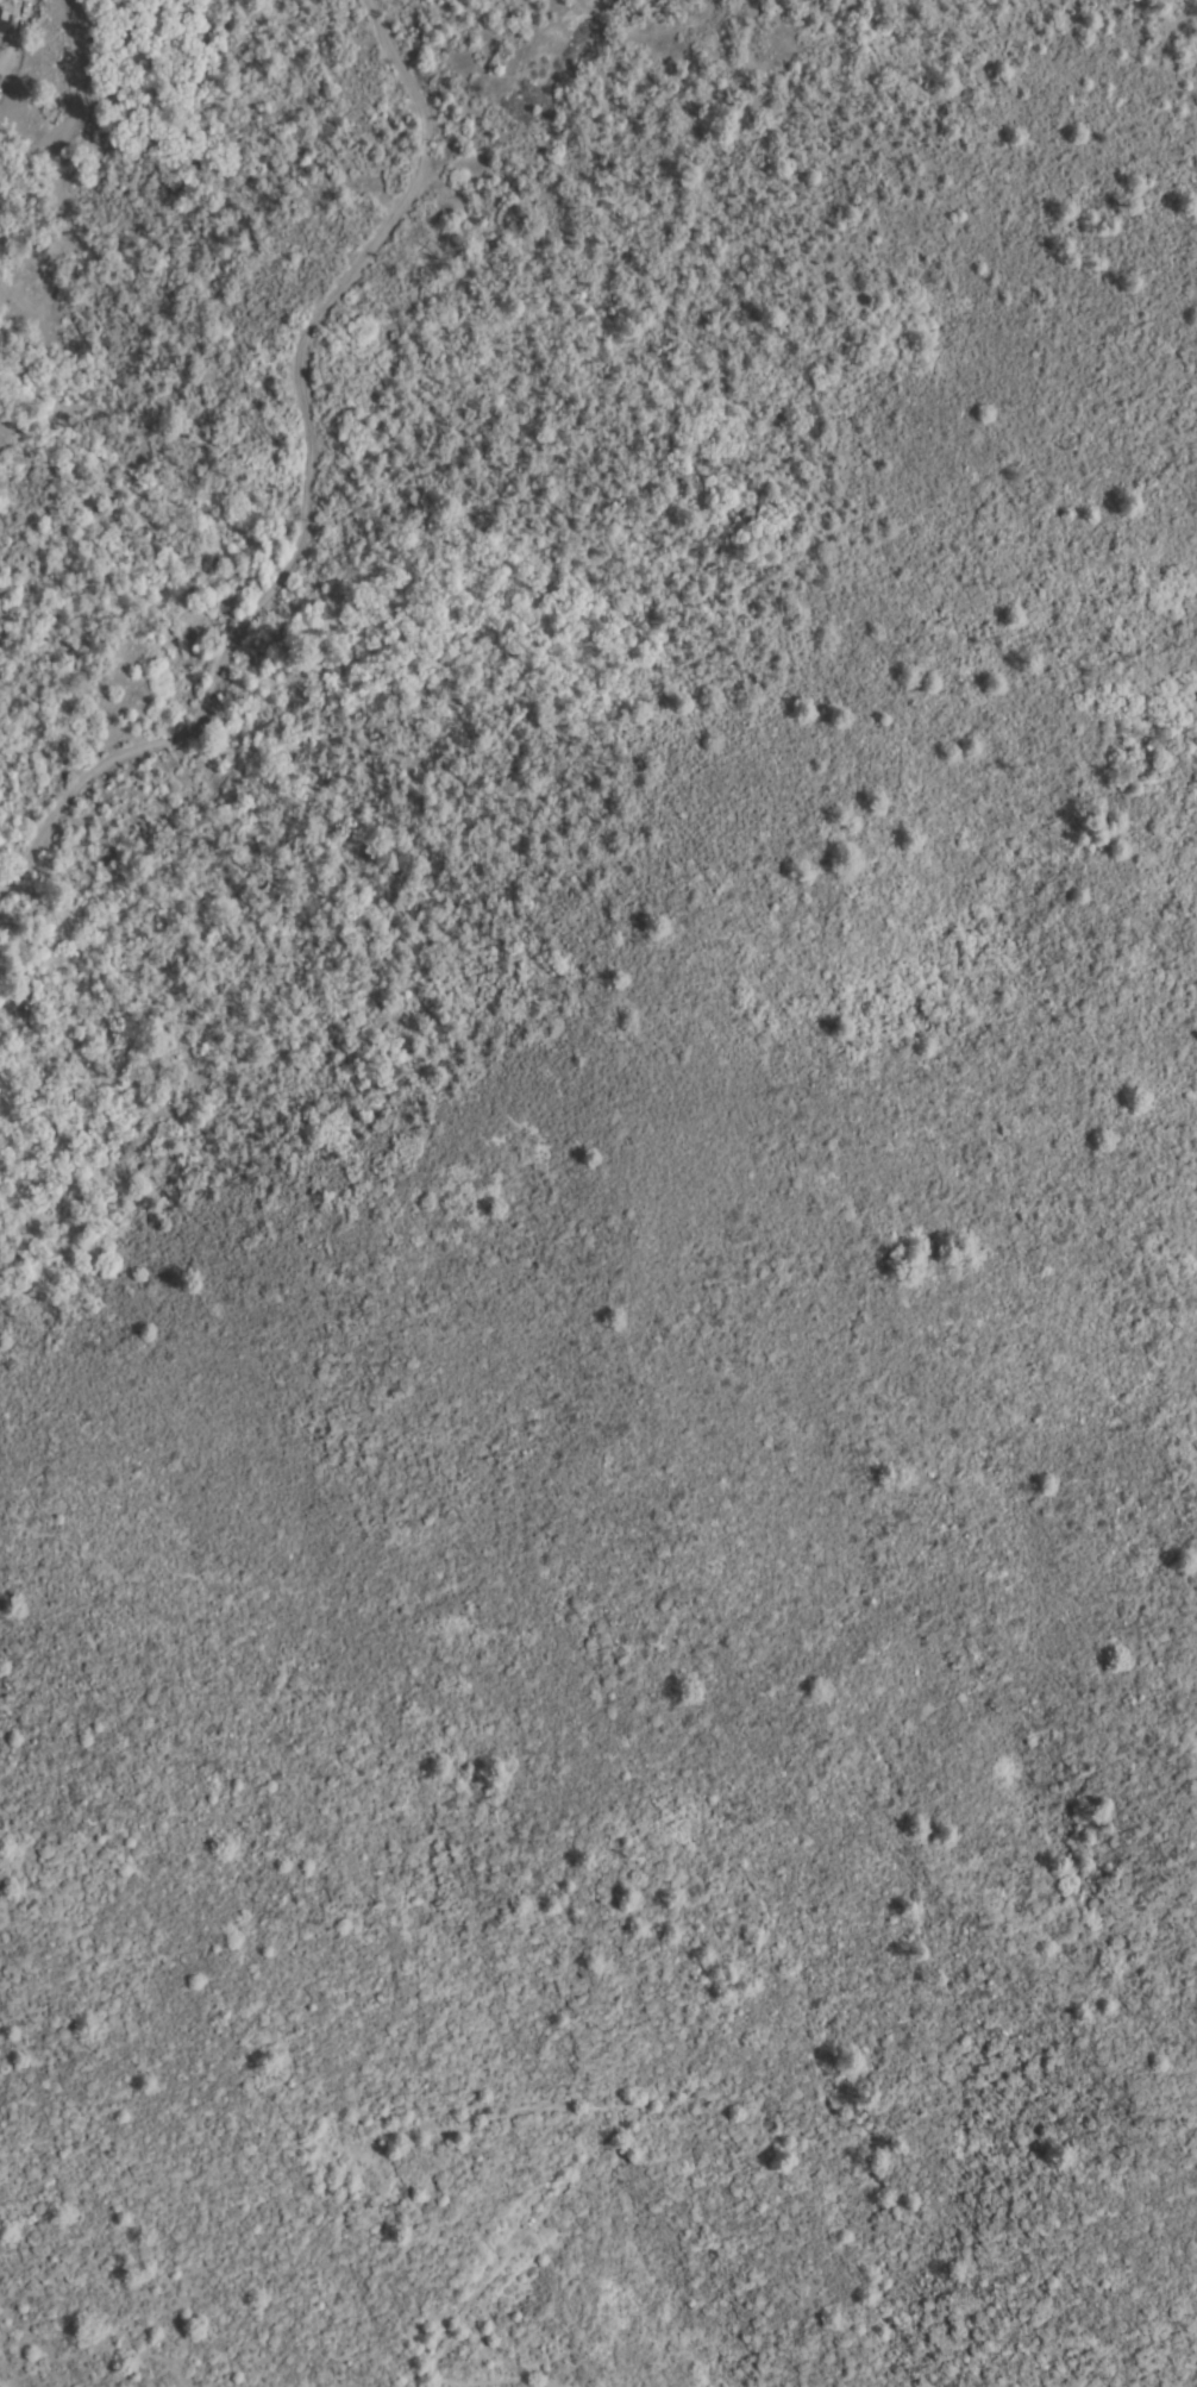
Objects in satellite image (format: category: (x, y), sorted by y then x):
building: (5, 20)
road: (300, 465)

